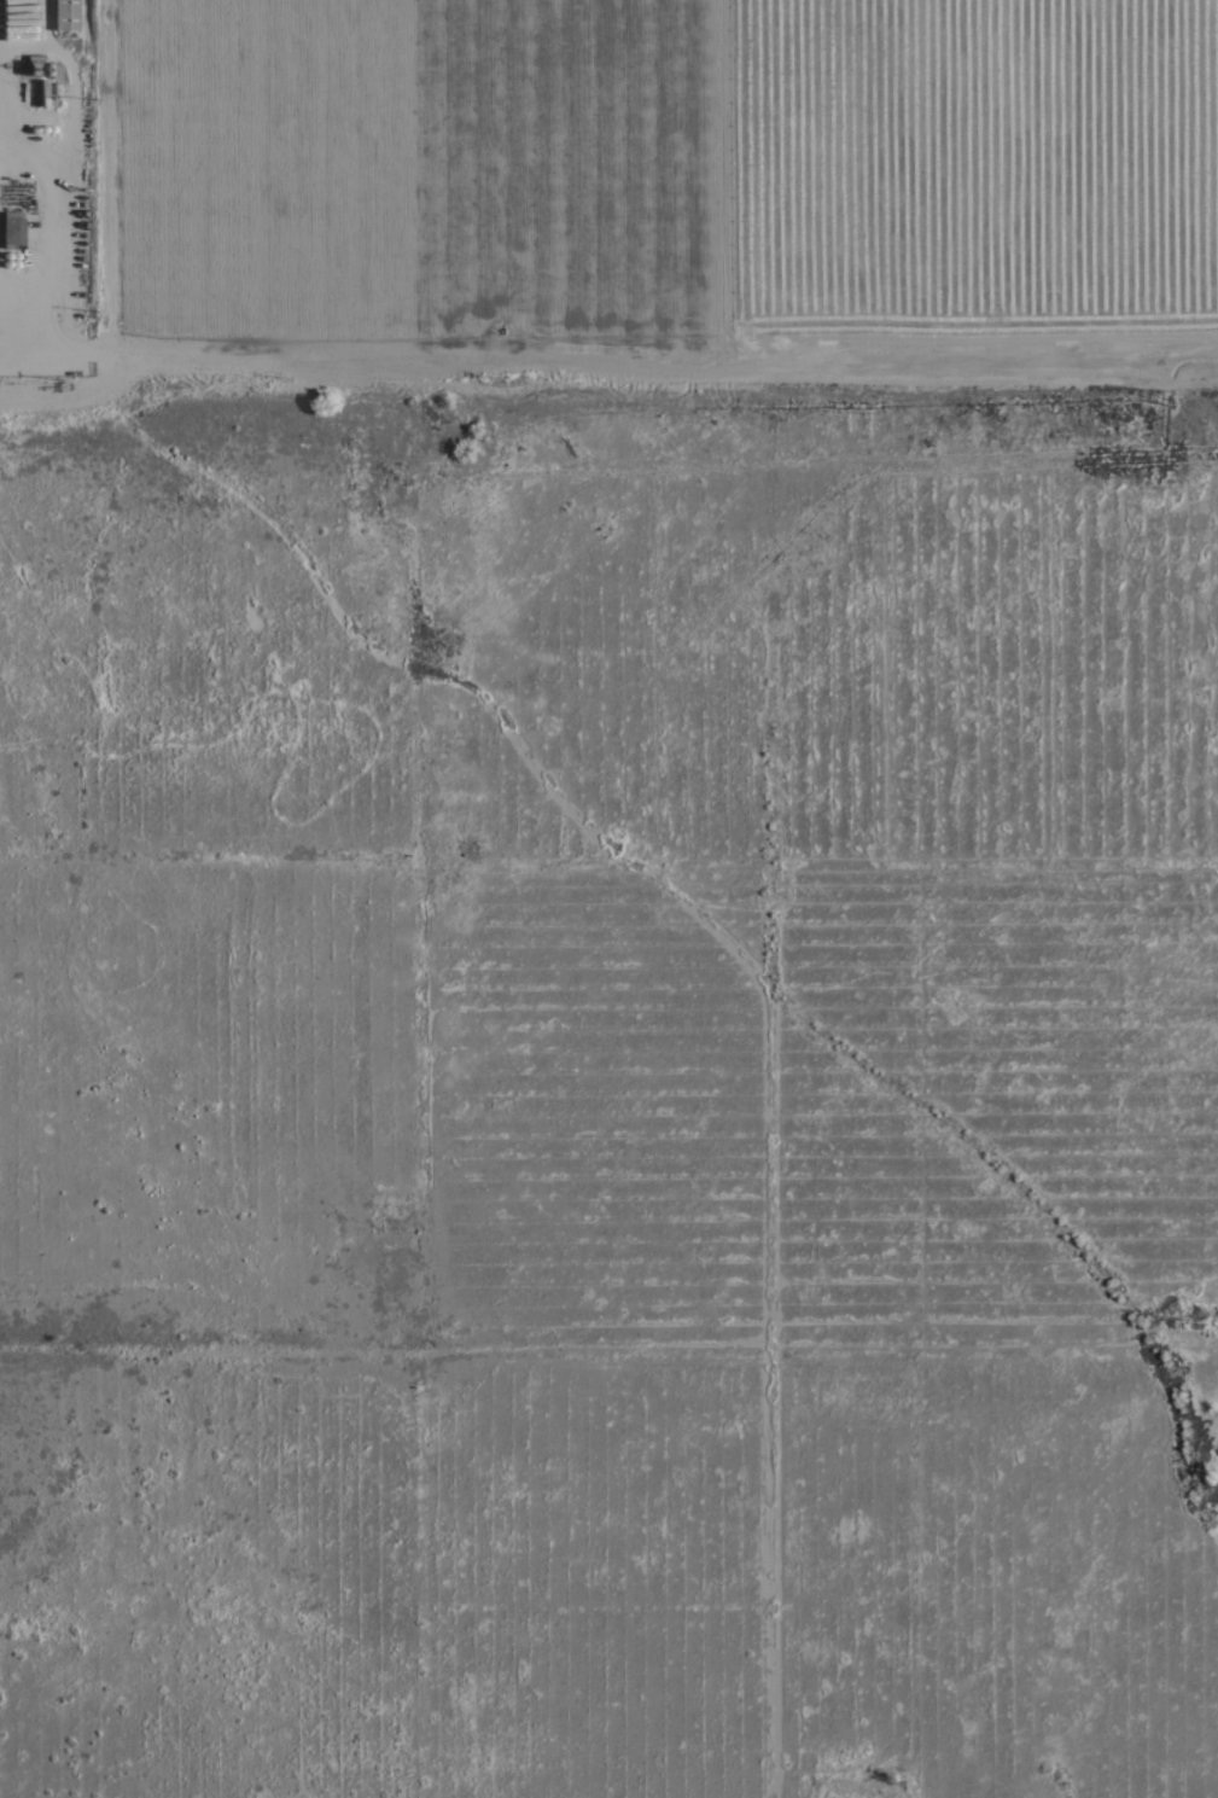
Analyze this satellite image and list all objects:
building: (65, 14)
crop: (674, 164)
building: (11, 231)
road: (608, 356)
road: (608, 1366)

